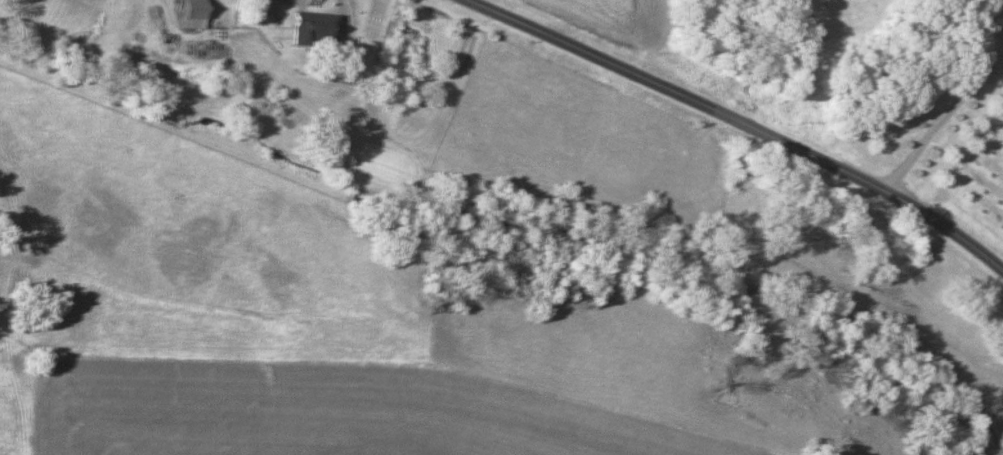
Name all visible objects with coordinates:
building: (183, 13)
building: (306, 28)
road: (937, 115)
road: (741, 124)

